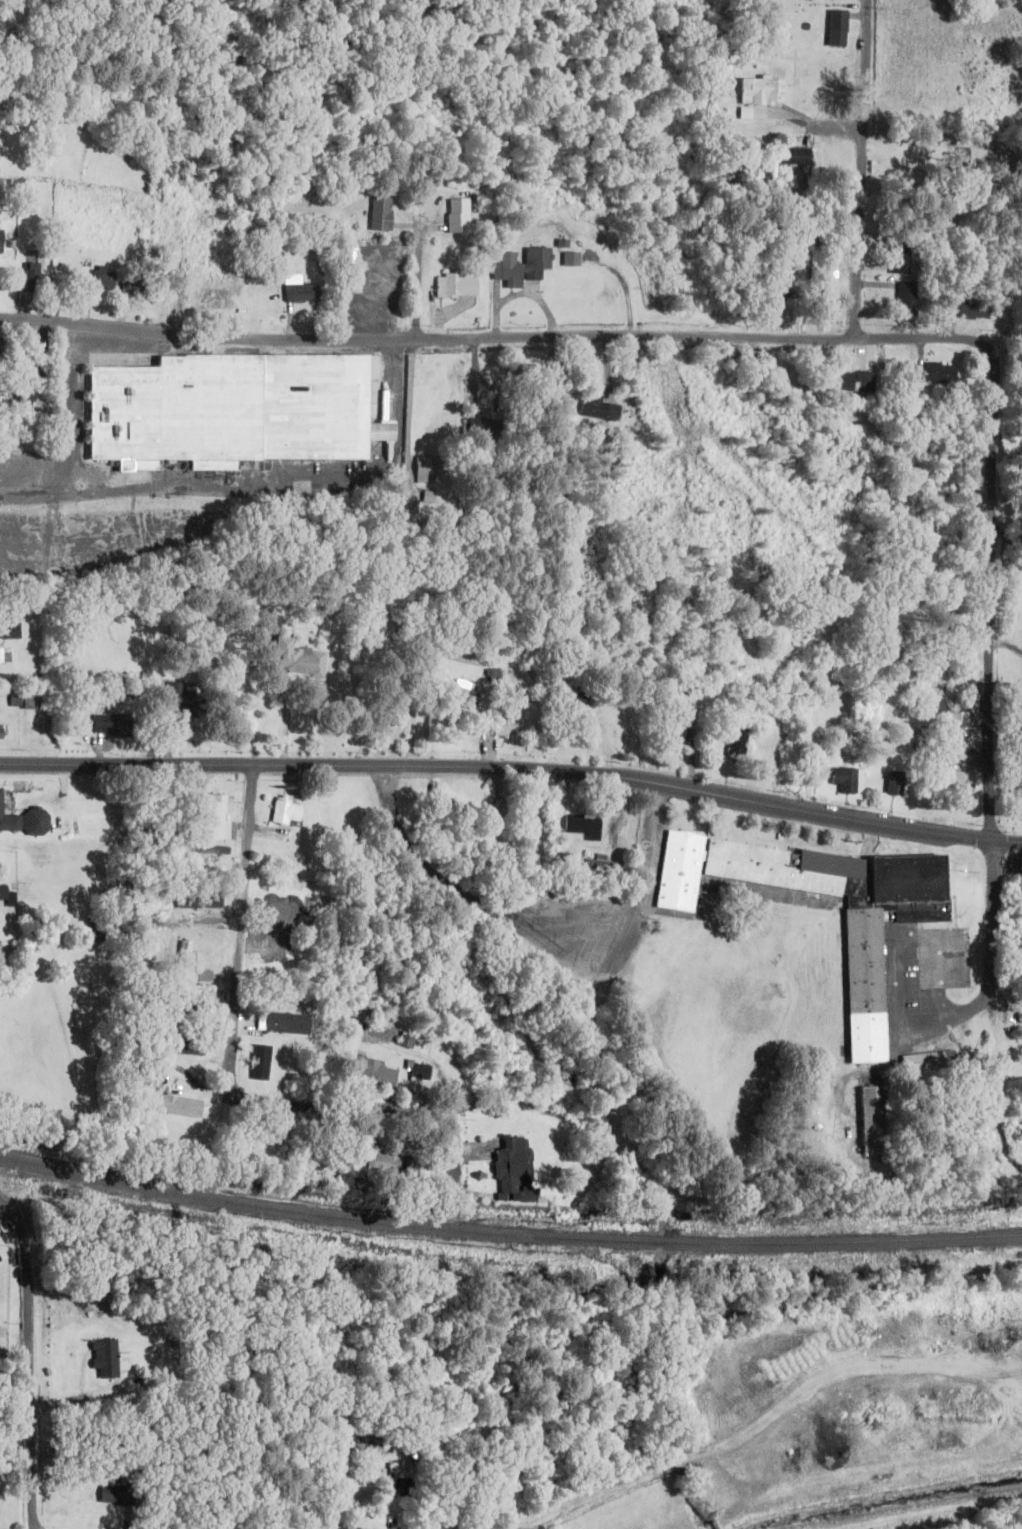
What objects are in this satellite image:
building: (838, 29)
building: (13, 37)
building: (763, 91)
building: (791, 156)
road: (868, 168)
building: (380, 213)
building: (454, 216)
building: (0, 242)
building: (899, 258)
building: (520, 267)
building: (29, 275)
road: (417, 278)
building: (826, 278)
building: (98, 279)
building: (455, 286)
building: (132, 287)
building: (300, 294)
building: (782, 296)
building: (905, 299)
building: (209, 302)
building: (967, 308)
road: (498, 340)
building: (933, 373)
building: (856, 382)
building: (665, 395)
building: (22, 397)
building: (233, 410)
building: (480, 427)
road: (72, 447)
building: (429, 469)
road: (167, 493)
building: (8, 631)
building: (295, 659)
building: (495, 676)
road: (992, 690)
building: (464, 694)
building: (575, 695)
building: (17, 699)
building: (178, 699)
building: (503, 722)
building: (678, 723)
building: (958, 723)
building: (108, 725)
building: (738, 740)
road: (513, 766)
building: (845, 780)
building: (946, 780)
building: (895, 784)
building: (284, 812)
building: (499, 812)
building: (209, 817)
building: (8, 822)
building: (580, 825)
building: (557, 858)
building: (599, 864)
building: (678, 872)
building: (1, 892)
building: (197, 902)
building: (848, 914)
road: (537, 934)
building: (184, 959)
road: (900, 965)
building: (188, 1008)
building: (284, 1023)
building: (406, 1040)
building: (185, 1045)
road: (242, 1054)
building: (926, 1061)
building: (258, 1062)
building: (417, 1071)
building: (369, 1073)
building: (175, 1105)
building: (872, 1119)
road: (446, 1154)
building: (322, 1155)
building: (379, 1162)
building: (508, 1168)
building: (409, 1171)
road: (9, 1209)
railway: (507, 1234)
building: (109, 1360)
road: (31, 1373)
building: (370, 1448)
building: (404, 1490)
road: (333, 1493)
building: (348, 1494)
building: (115, 1495)

